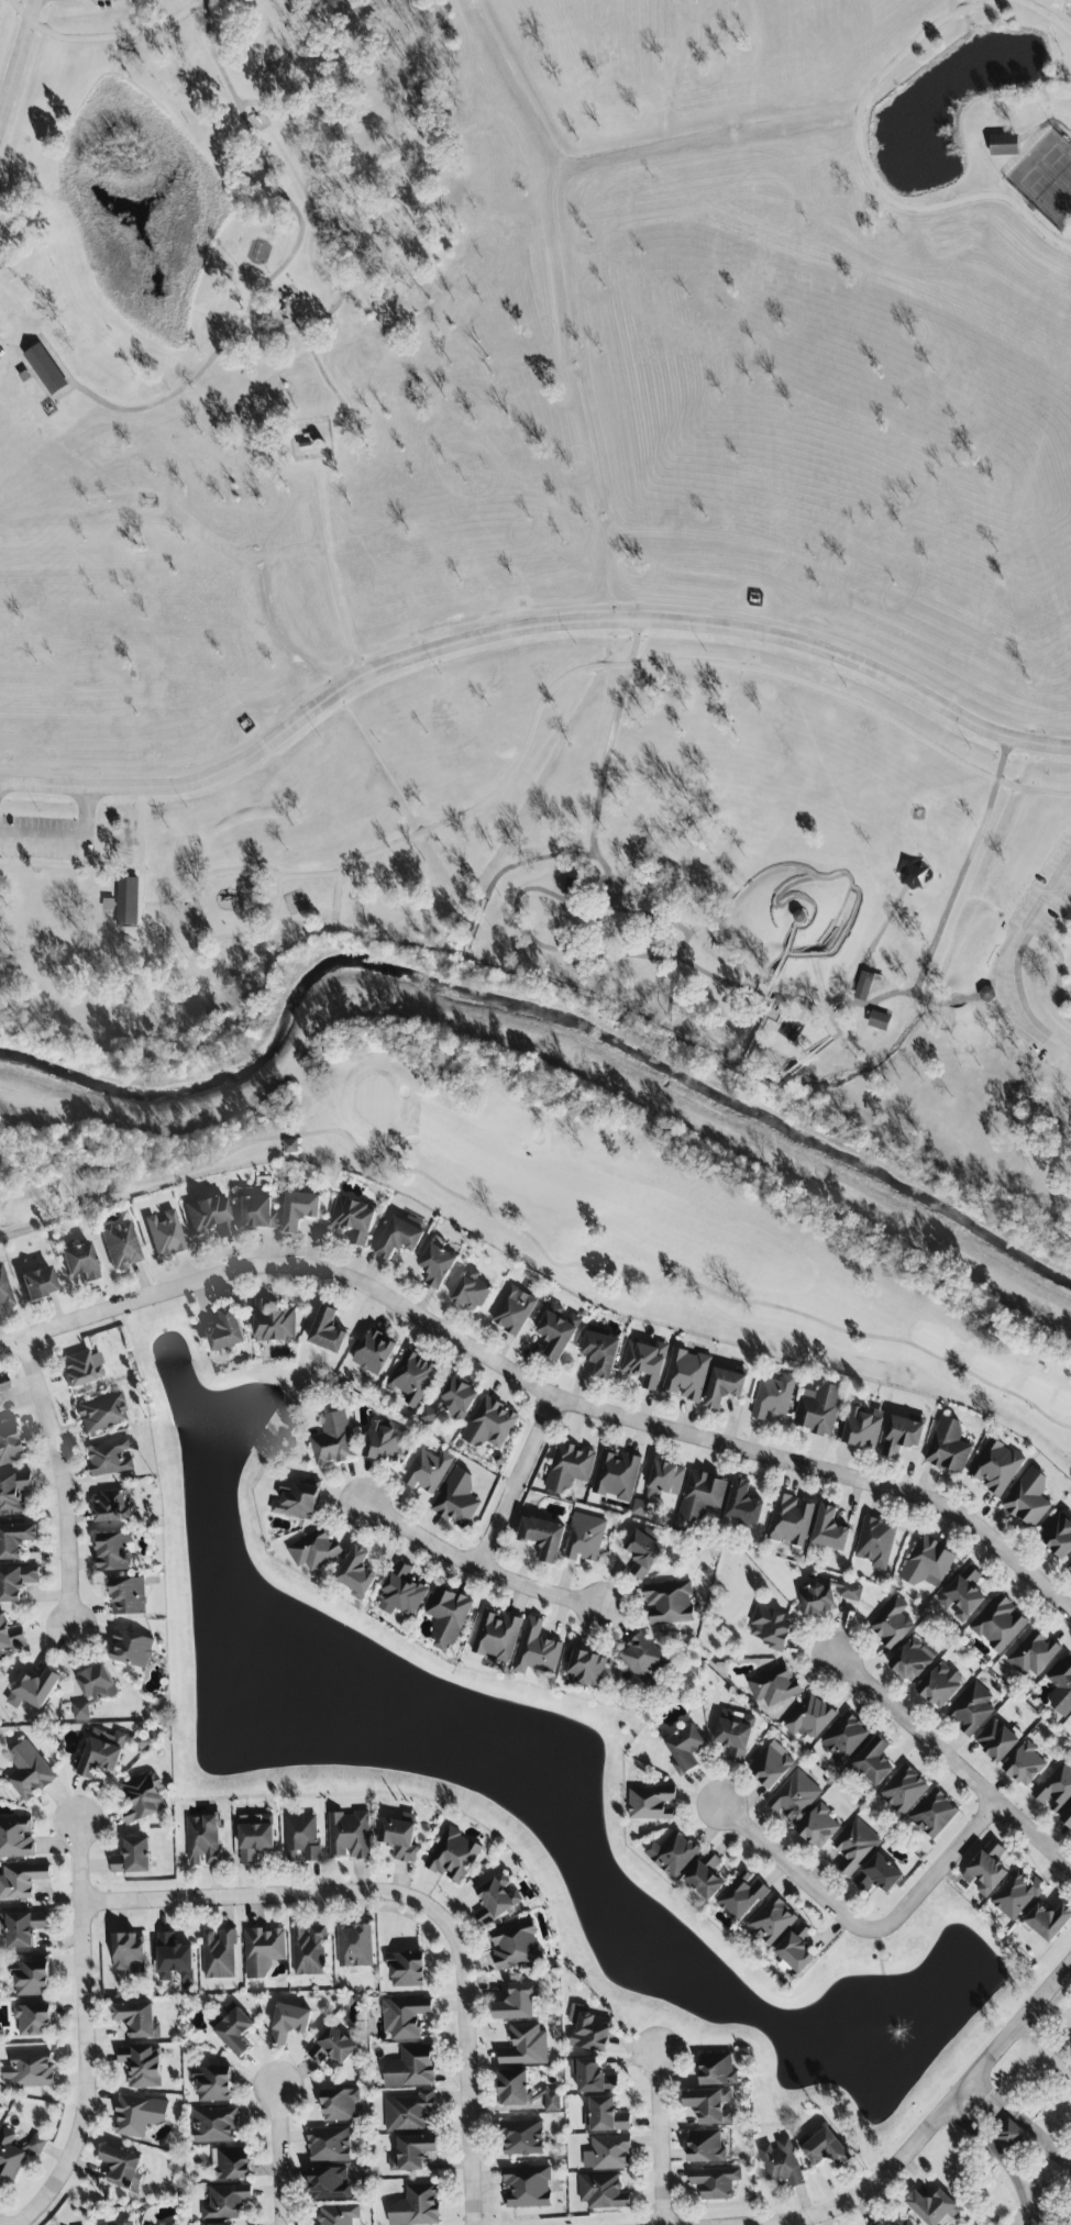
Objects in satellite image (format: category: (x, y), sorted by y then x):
parking lot: (103, 3)
road: (206, 7)
road: (1044, 13)
road: (101, 37)
road: (19, 62)
road: (1047, 124)
building: (1006, 145)
road: (865, 168)
park: (1047, 180)
road: (339, 235)
road: (258, 295)
parking lot: (3, 350)
building: (46, 369)
road: (327, 379)
road: (45, 387)
park: (552, 539)
road: (239, 553)
road: (331, 569)
road: (528, 628)
road: (614, 738)
road: (510, 773)
road: (68, 837)
parking lot: (48, 838)
road: (143, 846)
road: (560, 856)
road: (113, 865)
building: (915, 875)
road: (308, 876)
road: (835, 877)
parking lot: (1047, 895)
building: (126, 903)
road: (785, 905)
road: (950, 908)
road: (268, 920)
road: (852, 922)
road: (874, 943)
road: (568, 947)
road: (809, 955)
road: (1060, 957)
road: (1007, 967)
building: (866, 984)
road: (841, 997)
road: (676, 999)
road: (765, 1000)
road: (873, 1004)
road: (629, 1007)
river: (535, 1012)
building: (879, 1021)
parking lot: (1057, 1056)
building: (290, 1147)
building: (300, 1209)
building: (255, 1213)
building: (209, 1217)
park: (638, 1217)
building: (354, 1219)
building: (165, 1235)
building: (397, 1239)
building: (121, 1246)
building: (80, 1262)
building: (437, 1265)
building: (37, 1283)
building: (471, 1292)
building: (4, 1293)
building: (514, 1310)
building: (274, 1321)
building: (227, 1330)
building: (557, 1330)
building: (327, 1331)
building: (374, 1352)
building: (600, 1353)
building: (644, 1362)
building: (79, 1370)
building: (686, 1375)
building: (412, 1377)
building: (2, 1384)
building: (725, 1387)
road: (541, 1388)
building: (774, 1396)
building: (452, 1403)
building: (819, 1409)
building: (101, 1414)
building: (489, 1425)
building: (861, 1427)
building: (903, 1436)
building: (332, 1440)
building: (383, 1441)
building: (11, 1446)
building: (948, 1446)
building: (111, 1459)
building: (996, 1466)
building: (570, 1468)
building: (427, 1471)
building: (616, 1475)
road: (65, 1480)
road: (517, 1481)
building: (660, 1486)
building: (14, 1493)
building: (702, 1495)
building: (1028, 1497)
building: (297, 1498)
building: (456, 1498)
building: (743, 1503)
building: (111, 1507)
building: (791, 1520)
building: (829, 1530)
building: (1058, 1535)
building: (543, 1537)
building: (584, 1538)
building: (15, 1540)
building: (875, 1542)
building: (314, 1550)
building: (114, 1551)
building: (643, 1552)
building: (927, 1563)
road: (477, 1565)
building: (1069, 1565)
building: (356, 1573)
building: (16, 1582)
building: (402, 1592)
building: (851, 1592)
building: (962, 1595)
building: (129, 1596)
building: (817, 1597)
building: (669, 1603)
building: (448, 1616)
building: (892, 1624)
building: (1000, 1624)
building: (772, 1627)
building: (497, 1636)
building: (11, 1637)
building: (132, 1649)
building: (537, 1650)
building: (1034, 1654)
building: (642, 1658)
building: (912, 1660)
building: (585, 1669)
building: (97, 1683)
building: (773, 1685)
building: (939, 1685)
building: (1061, 1687)
building: (33, 1690)
building: (972, 1709)
building: (810, 1717)
building: (735, 1734)
building: (844, 1739)
building: (996, 1740)
building: (685, 1749)
building: (100, 1753)
road: (954, 1761)
building: (872, 1762)
building: (1025, 1764)
building: (771, 1765)
building: (29, 1771)
building: (1056, 1787)
building: (903, 1790)
building: (794, 1796)
building: (144, 1797)
building: (652, 1803)
building: (934, 1813)
building: (1067, 1818)
building: (818, 1827)
building: (350, 1835)
building: (255, 1836)
building: (301, 1837)
building: (400, 1837)
building: (16, 1838)
building: (203, 1840)
building: (855, 1846)
building: (673, 1855)
building: (454, 1856)
building: (133, 1857)
building: (986, 1870)
building: (706, 1875)
building: (877, 1875)
building: (21, 1880)
building: (1017, 1894)
road: (263, 1895)
building: (741, 1896)
building: (497, 1899)
building: (772, 1920)
building: (1049, 1920)
building: (22, 1928)
road: (863, 1928)
building: (355, 1946)
building: (516, 1947)
building: (263, 1950)
building: (795, 1950)
building: (309, 1951)
building: (129, 1953)
building: (219, 1955)
building: (174, 1958)
building: (407, 1969)
building: (31, 1978)
building: (517, 2002)
building: (405, 2017)
building: (33, 2019)
building: (137, 2019)
building: (289, 2022)
building: (233, 2028)
building: (589, 2030)
road: (86, 2033)
building: (332, 2046)
building: (526, 2046)
road: (1045, 2046)
road: (1063, 2046)
building: (142, 2066)
road: (468, 2066)
building: (410, 2068)
building: (30, 2070)
building: (717, 2070)
building: (592, 2075)
building: (212, 2083)
building: (525, 2092)
building: (340, 2105)
building: (710, 2105)
building: (409, 2112)
building: (139, 2115)
building: (606, 2116)
road: (1022, 2121)
road: (932, 2123)
building: (214, 2125)
building: (1009, 2134)
building: (522, 2138)
road: (660, 2138)
building: (329, 2145)
building: (705, 2147)
building: (826, 2149)
building: (16, 2152)
building: (412, 2152)
building: (608, 2152)
road: (281, 2154)
road: (998, 2160)
building: (781, 2163)
building: (232, 2165)
building: (124, 2168)
building: (715, 2182)
building: (329, 2183)
building: (527, 2187)
road: (1050, 2188)
building: (603, 2192)
building: (227, 2202)
building: (416, 2206)
building: (934, 2207)
building: (339, 2215)
building: (907, 2223)
building: (129, 2224)
building: (169, 2224)
building: (223, 2224)
building: (882, 2224)

